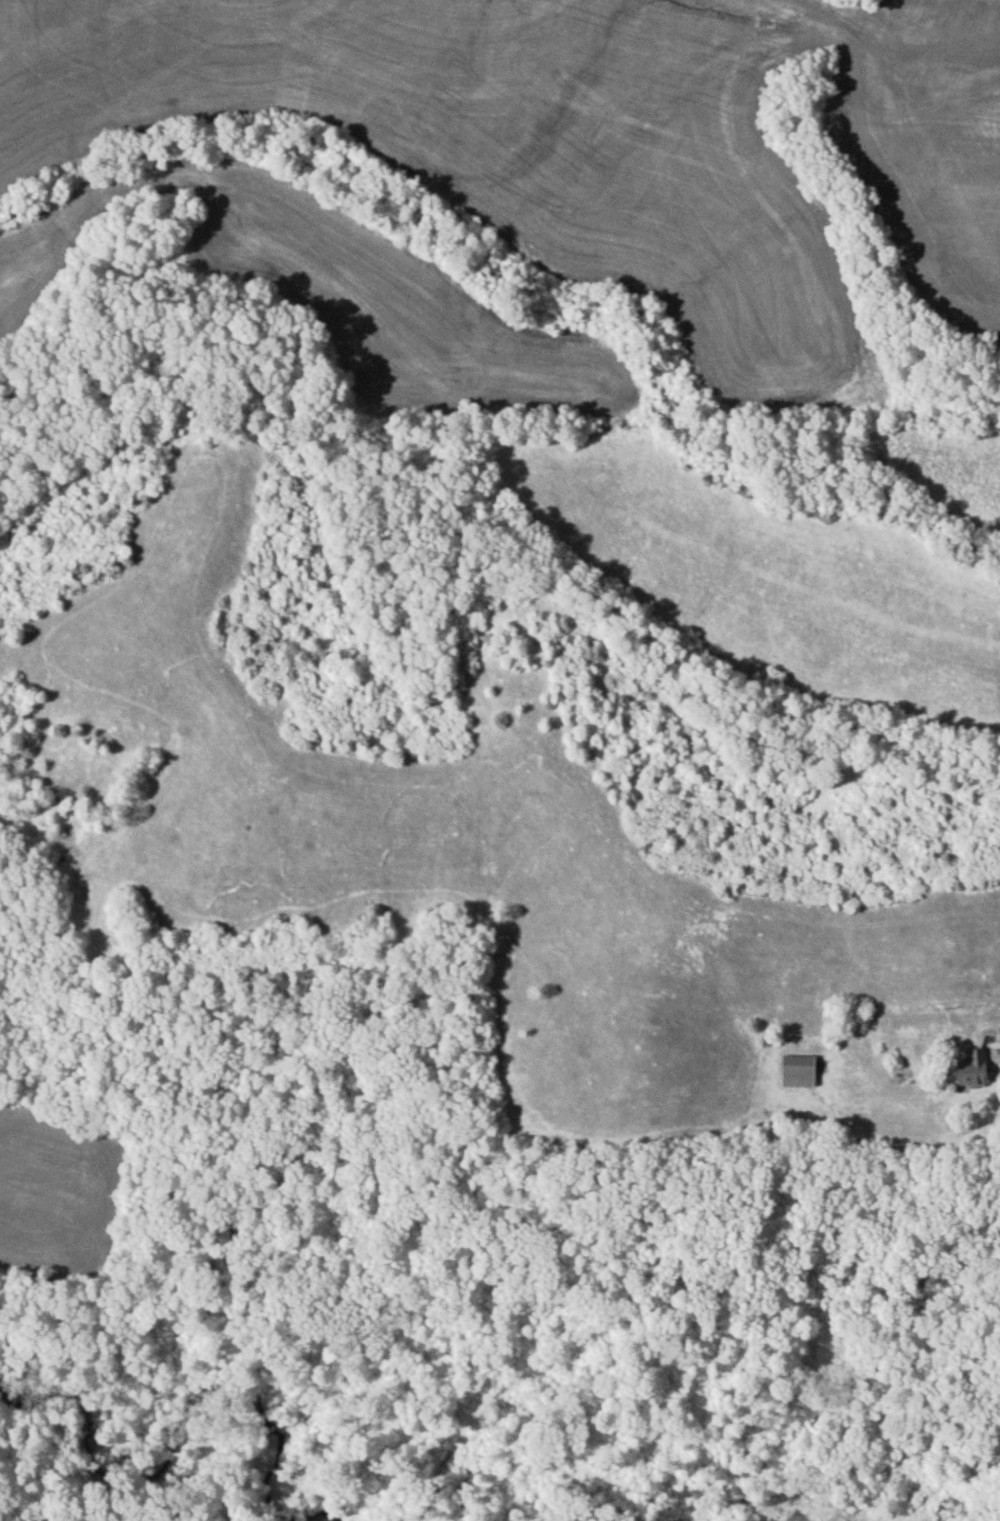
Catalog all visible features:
building: (796, 1070)

